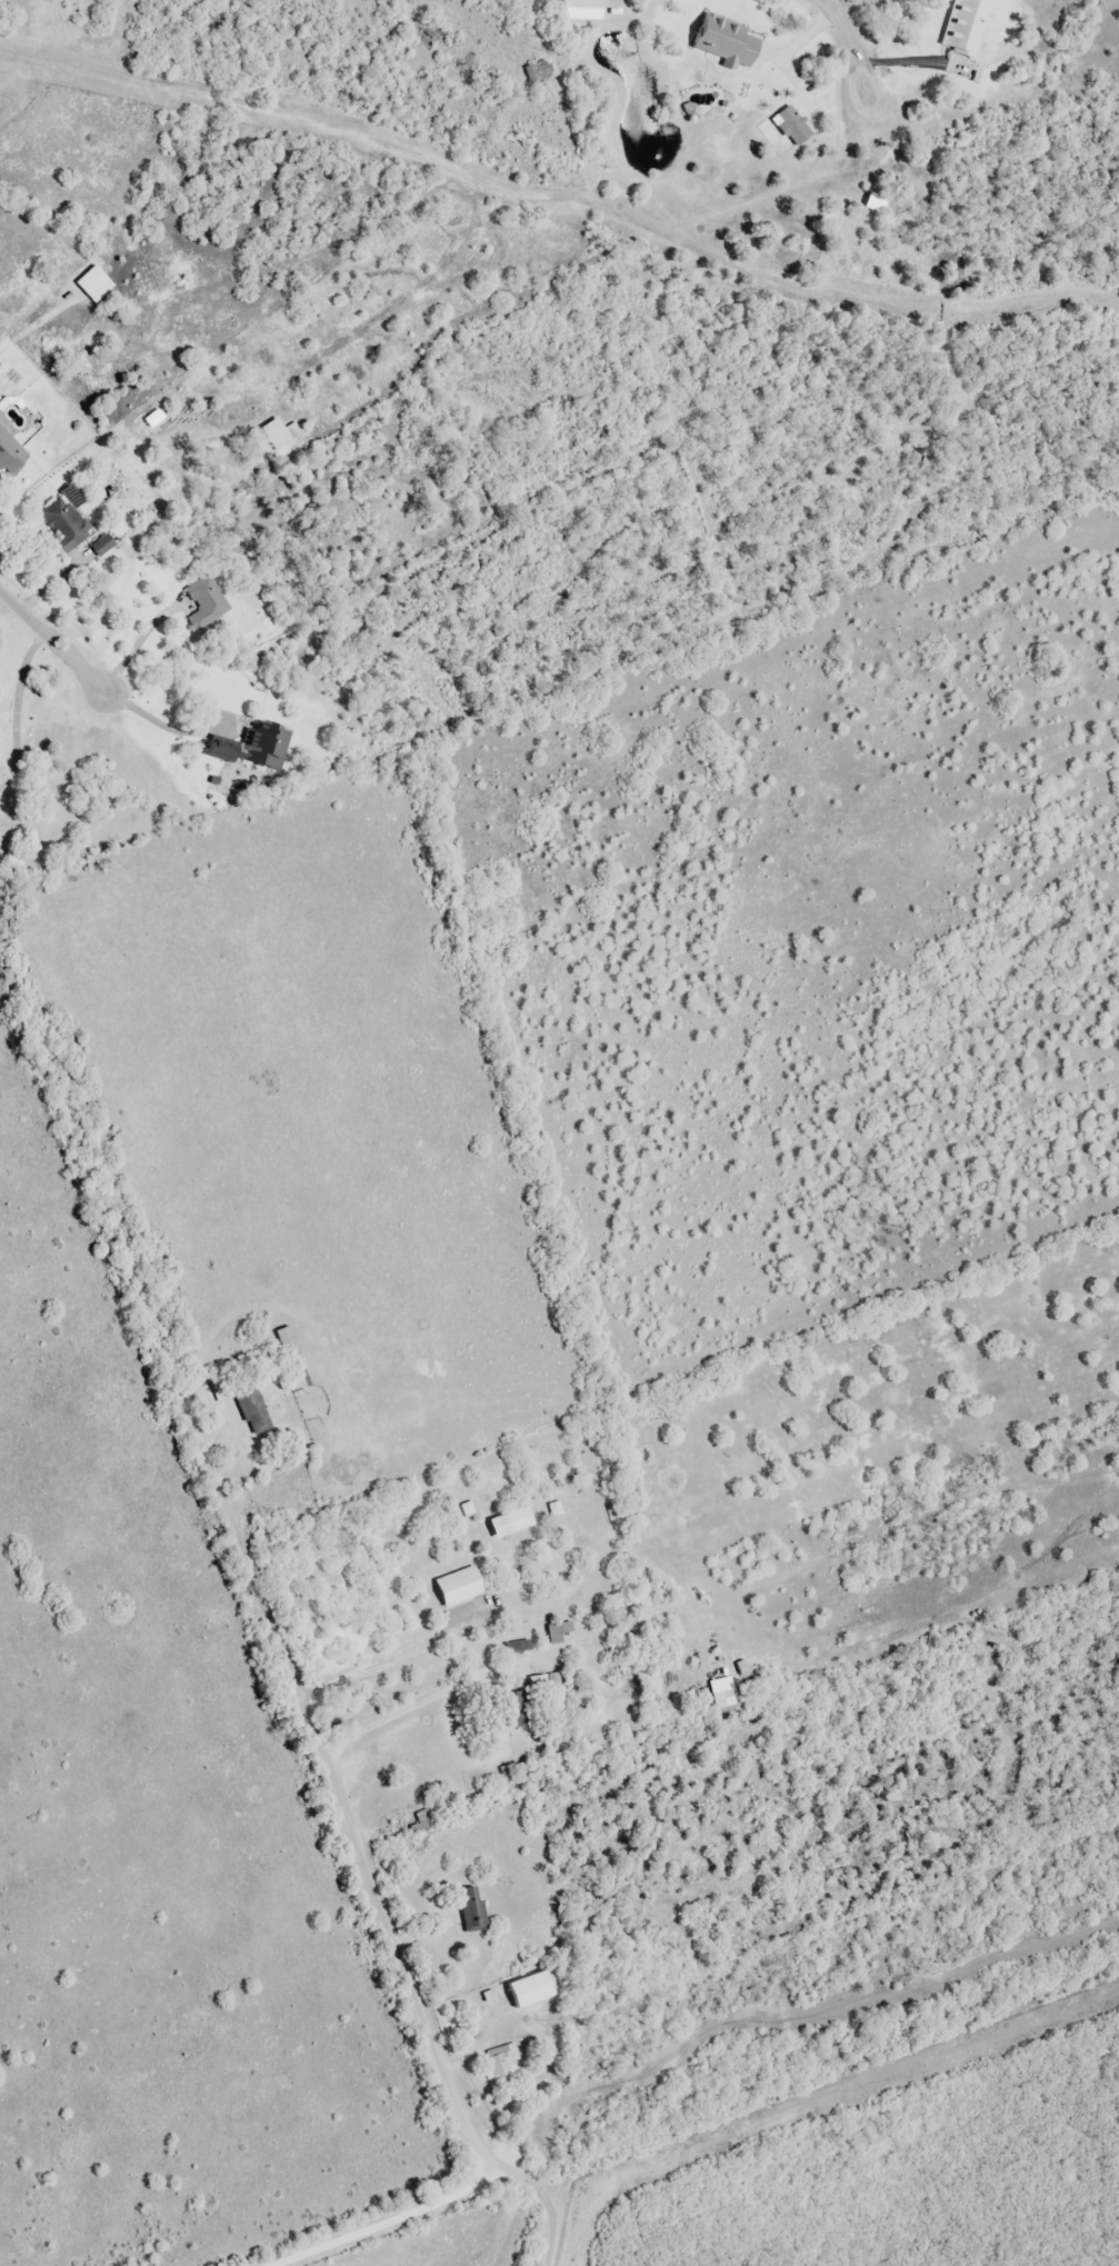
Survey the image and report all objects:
building: (281, 433)
road: (51, 639)
building: (516, 1521)
building: (463, 1585)
building: (559, 1633)
road: (380, 1895)
building: (502, 2062)
road: (332, 2212)

